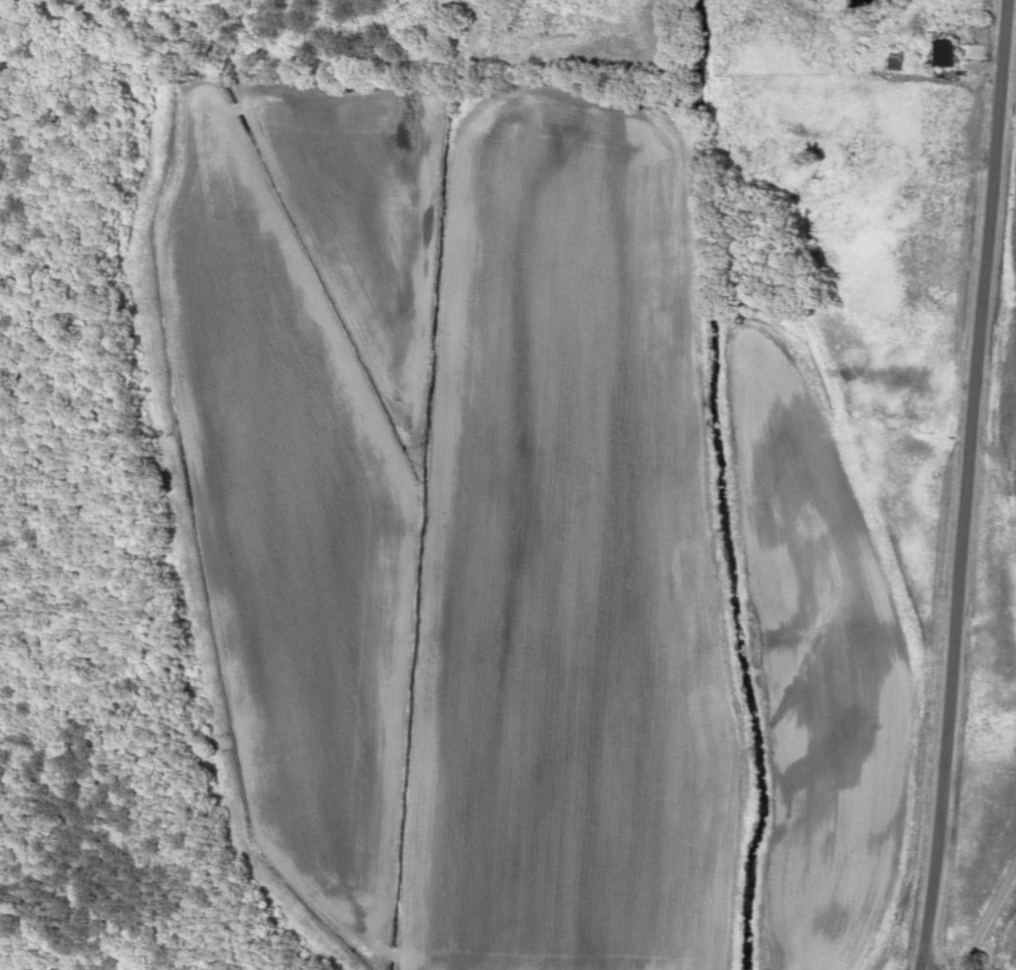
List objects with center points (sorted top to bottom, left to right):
building: (954, 52)
building: (907, 58)
road: (945, 485)
road: (982, 915)

